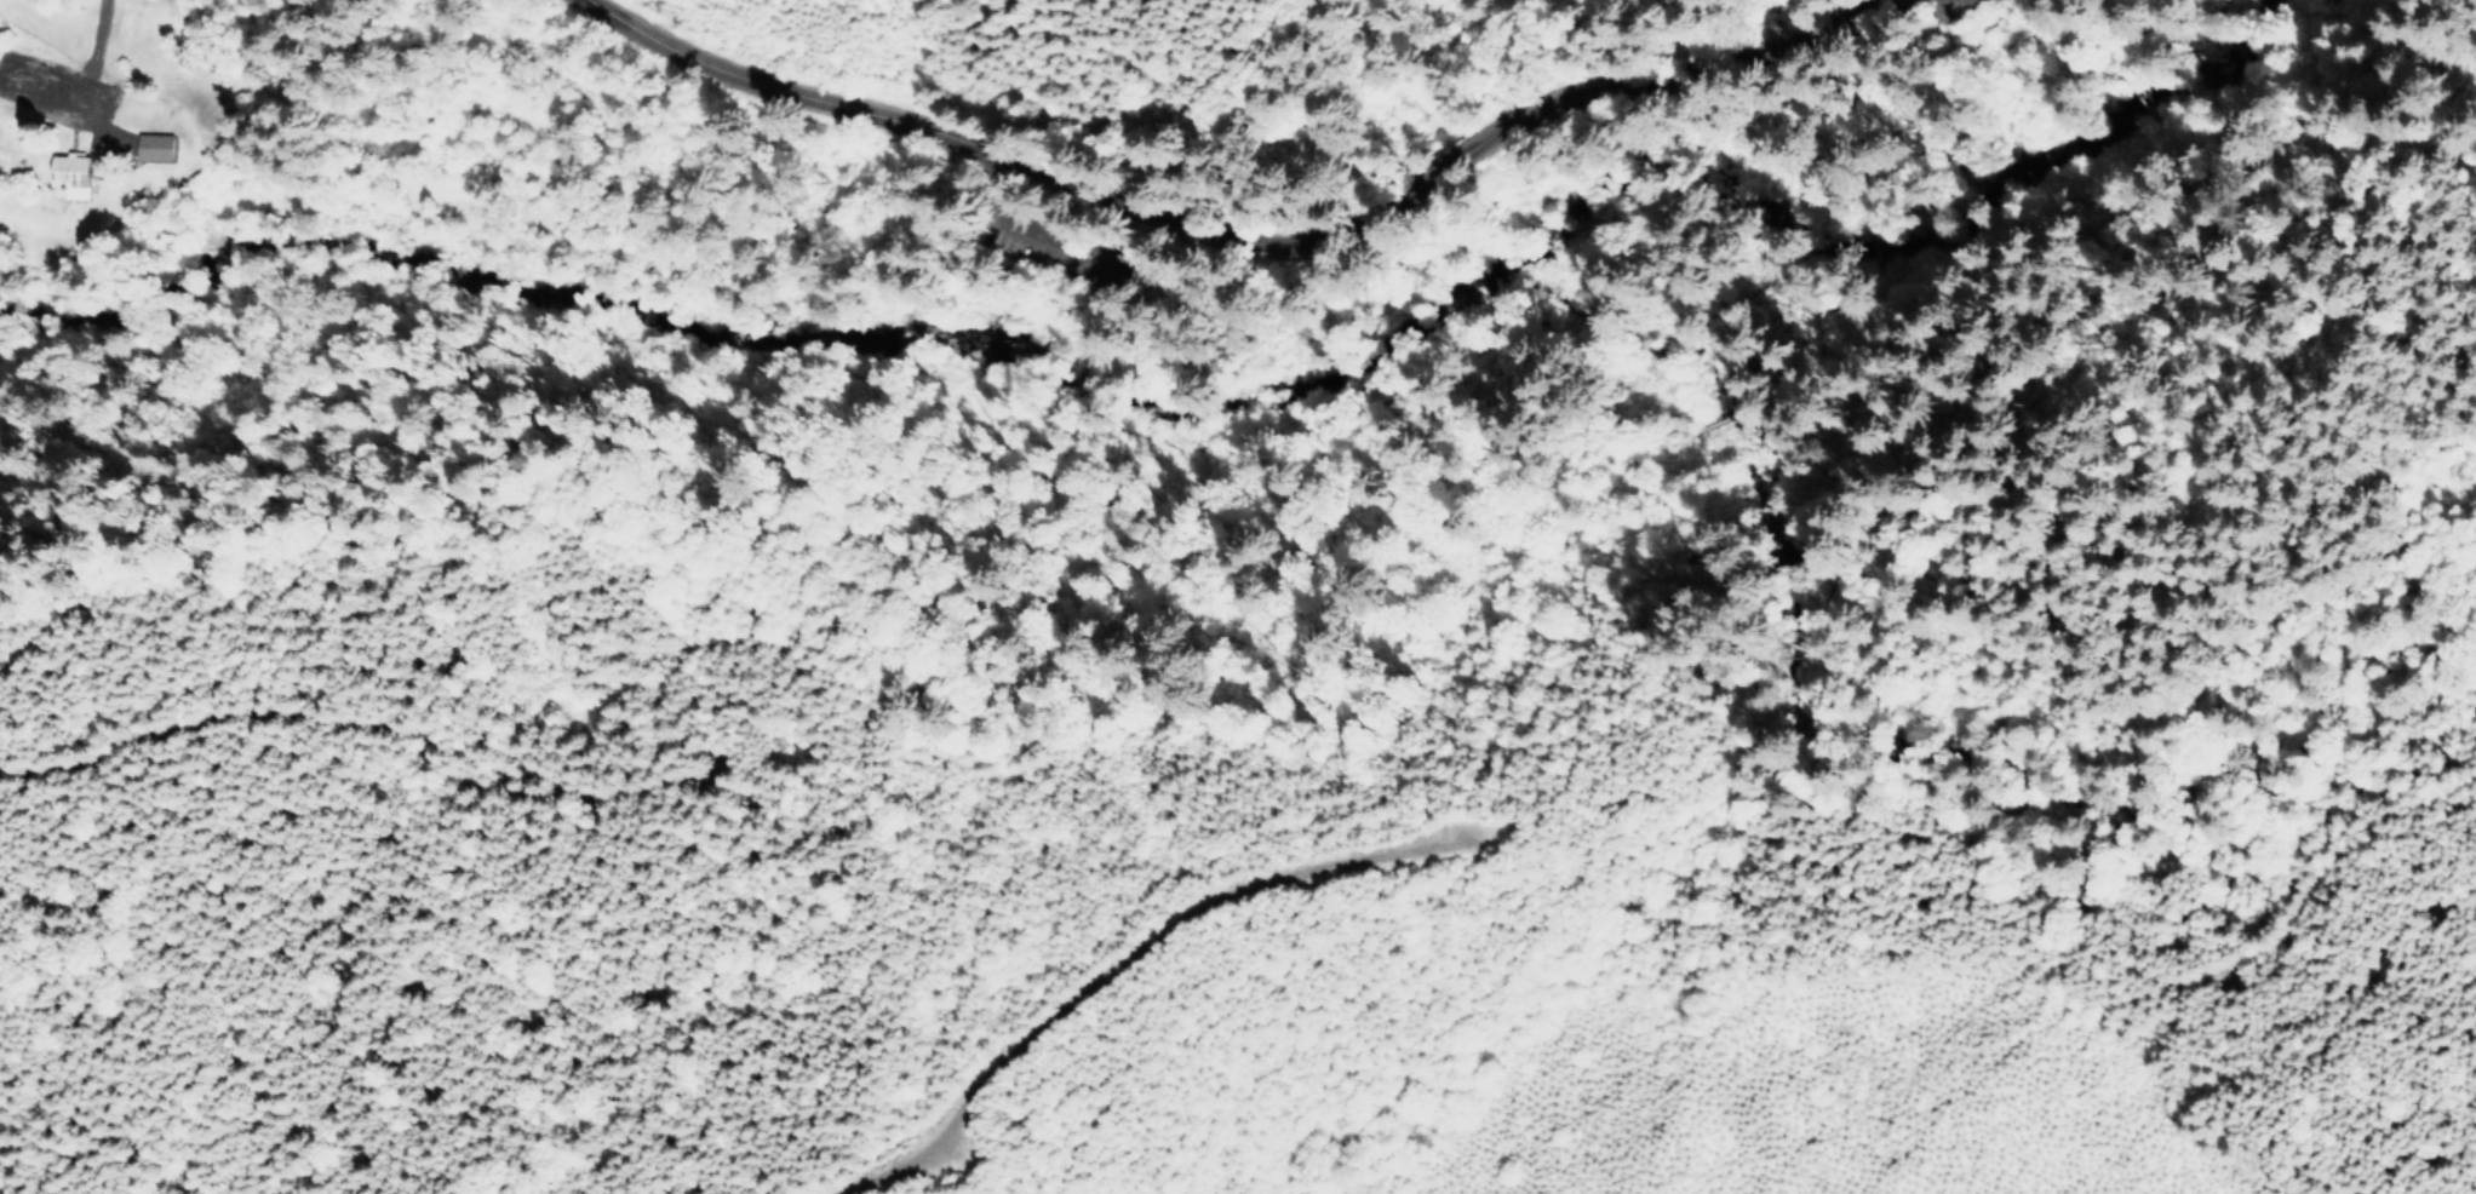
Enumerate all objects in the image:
road: (1926, 8)
parking lot: (1950, 8)
road: (2475, 8)
road: (2166, 13)
road: (1956, 23)
road: (1918, 62)
road: (63, 107)
road: (2004, 111)
road: (999, 219)
parking lot: (1038, 240)
road: (1239, 241)
road: (1856, 243)
road: (1765, 320)
road: (1326, 421)
road: (1709, 423)
road: (2031, 482)

